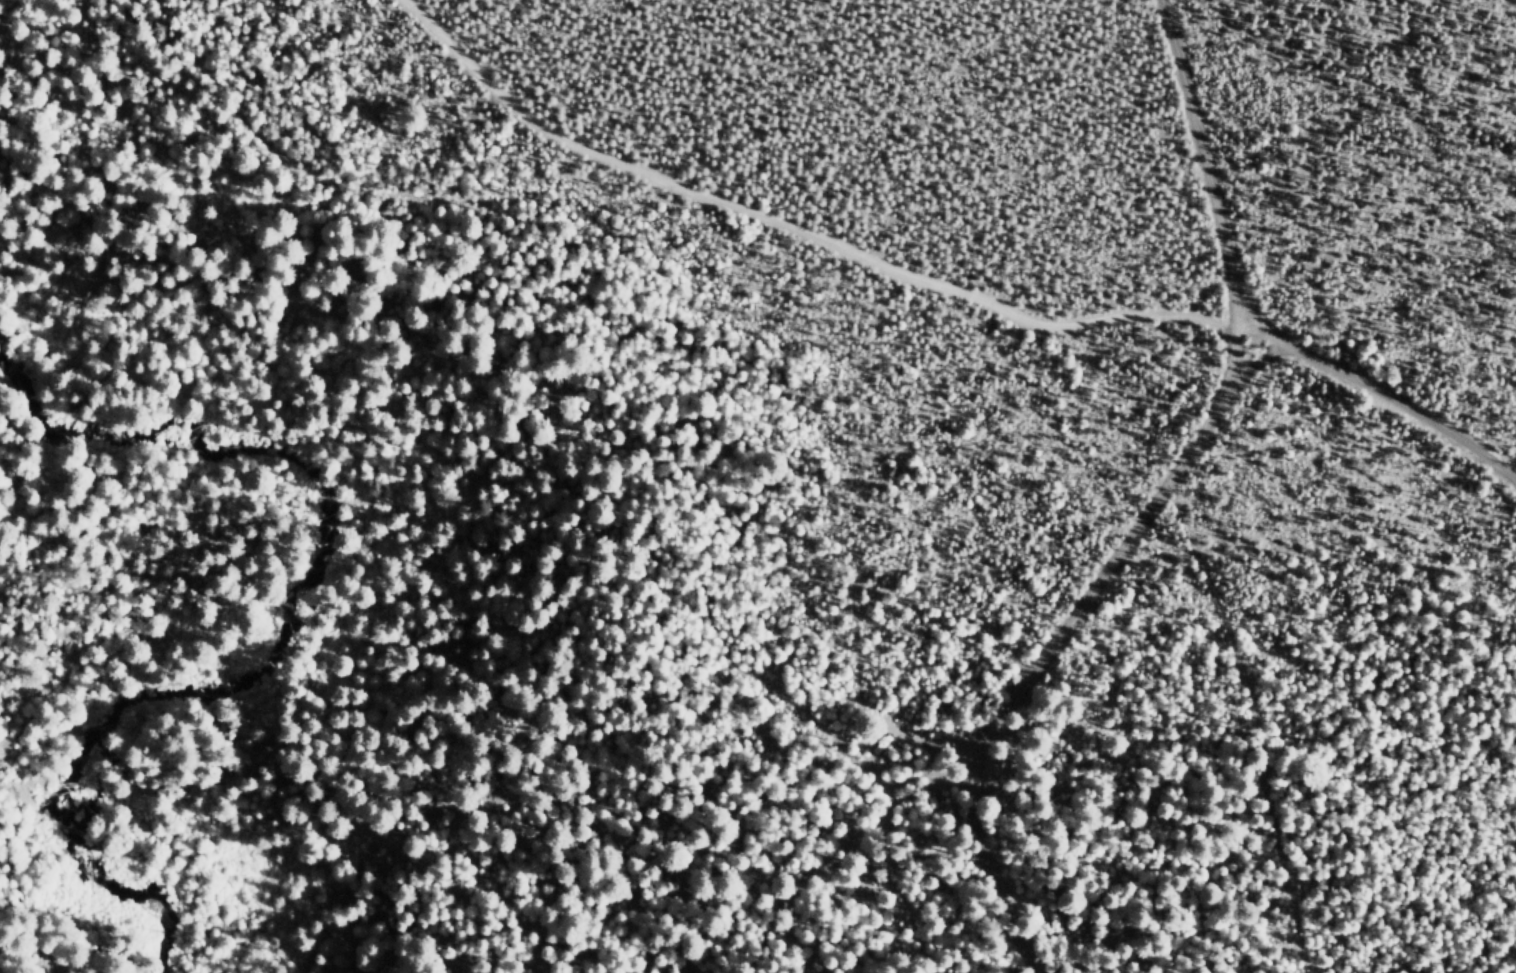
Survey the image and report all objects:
road: (1201, 157)
road: (794, 229)
road: (1378, 395)
road: (1056, 628)
road: (1257, 701)

